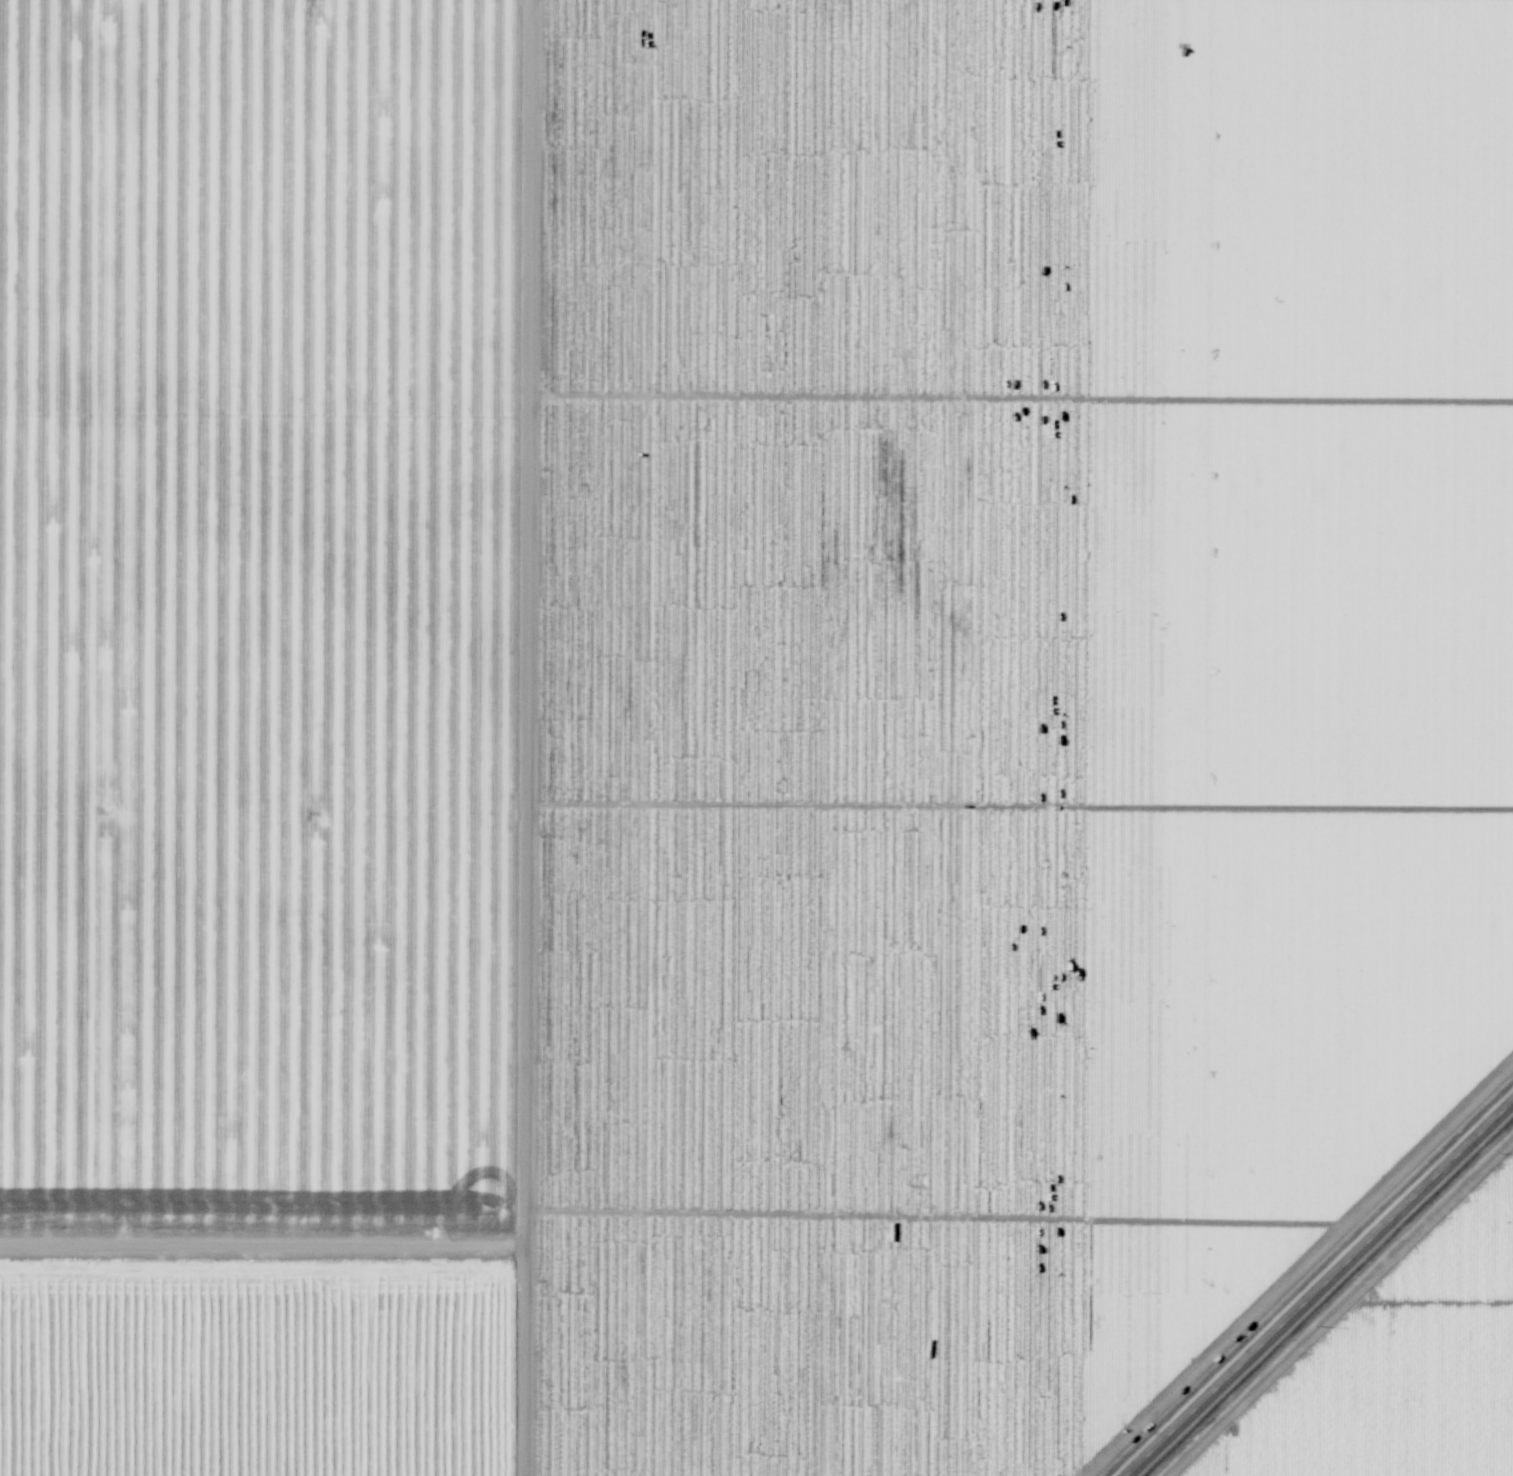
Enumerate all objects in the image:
road: (1329, 1298)

